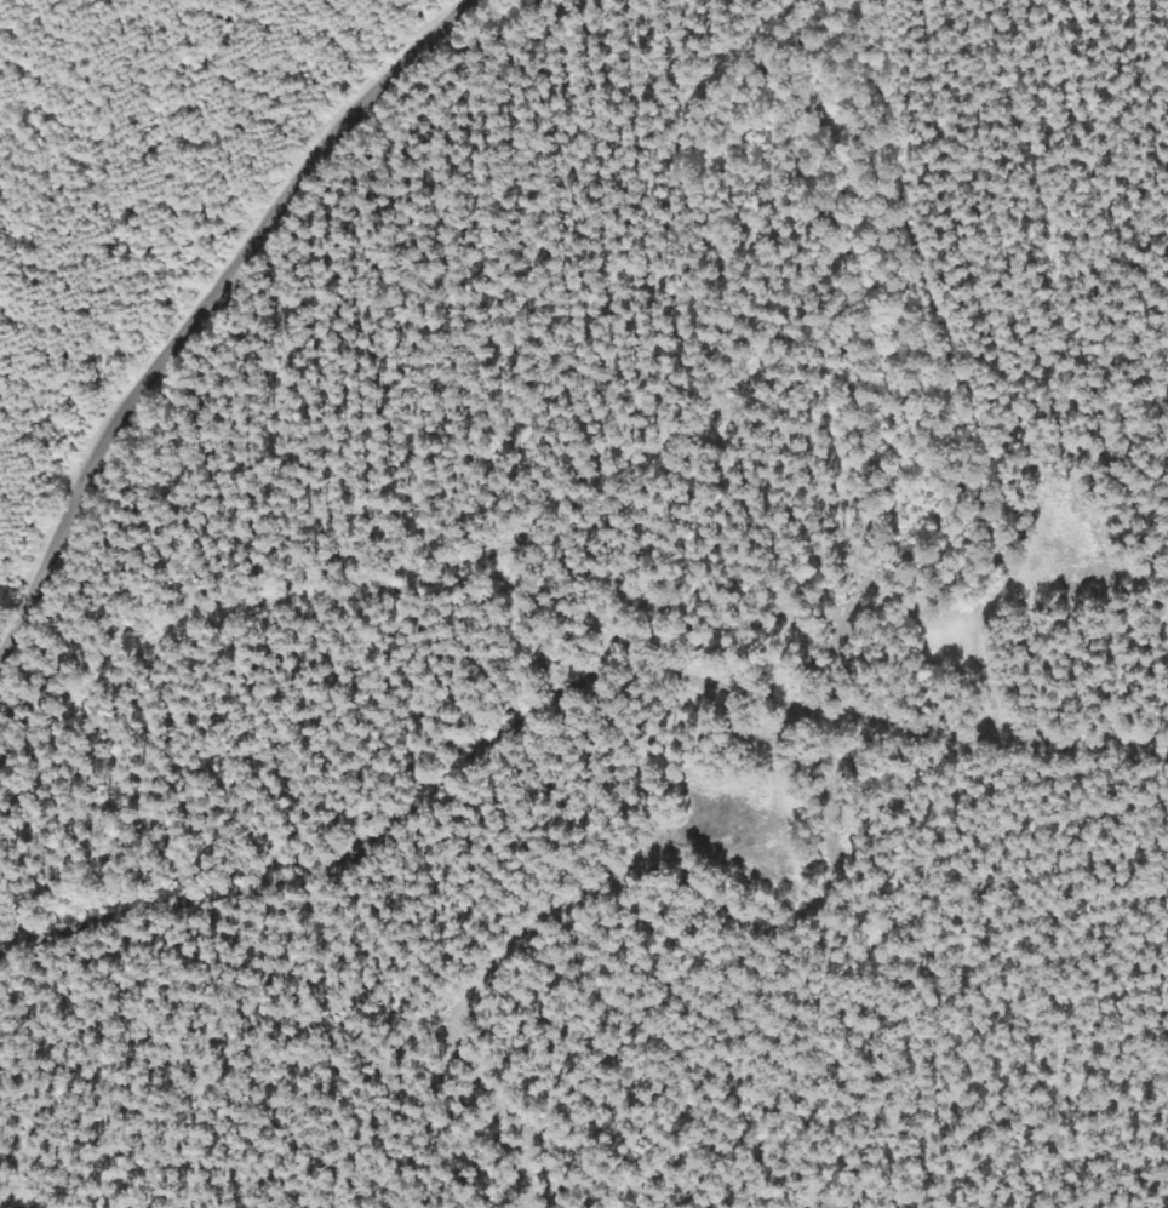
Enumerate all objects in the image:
road: (229, 307)

